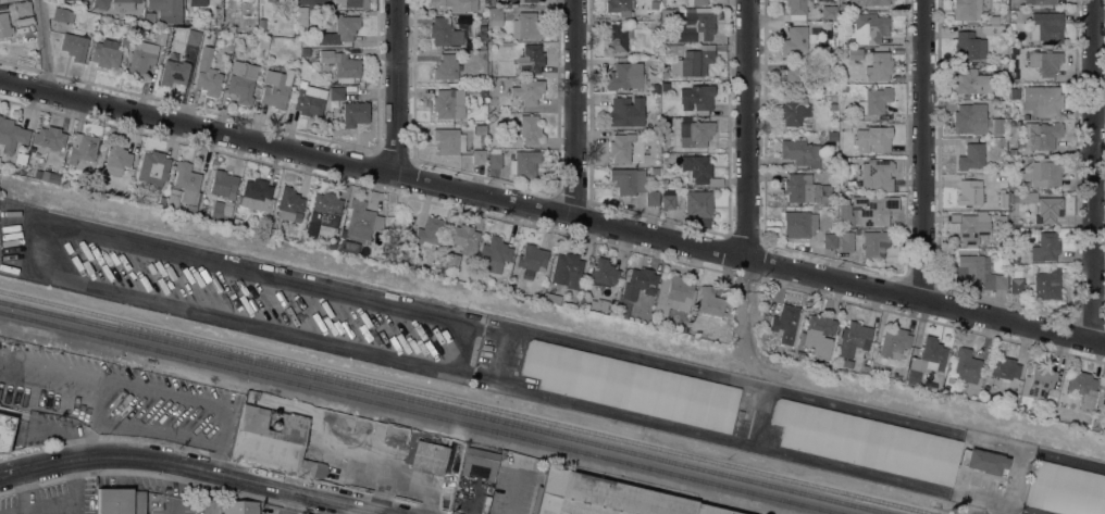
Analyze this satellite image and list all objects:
building: (5, 1)
building: (519, 1)
building: (200, 2)
building: (491, 2)
building: (698, 2)
building: (869, 2)
building: (1045, 2)
building: (99, 3)
building: (310, 3)
building: (352, 3)
building: (456, 3)
building: (124, 4)
building: (1014, 7)
building: (619, 8)
building: (20, 9)
building: (797, 9)
building: (967, 9)
building: (166, 10)
building: (828, 11)
building: (62, 14)
building: (301, 16)
building: (495, 16)
building: (656, 16)
building: (150, 17)
building: (666, 18)
building: (261, 24)
building: (4, 25)
building: (526, 26)
building: (1011, 26)
building: (1045, 27)
building: (694, 28)
building: (869, 28)
building: (342, 30)
building: (444, 33)
building: (482, 36)
building: (160, 37)
building: (193, 37)
building: (618, 37)
building: (124, 40)
building: (793, 40)
building: (274, 41)
building: (264, 42)
building: (74, 46)
building: (968, 46)
road: (45, 47)
building: (303, 51)
building: (105, 53)
building: (854, 53)
building: (141, 58)
building: (531, 58)
building: (686, 61)
building: (1044, 62)
building: (199, 64)
building: (340, 65)
building: (879, 65)
building: (446, 67)
building: (173, 73)
building: (624, 76)
building: (491, 79)
building: (793, 79)
building: (241, 80)
building: (209, 83)
building: (970, 84)
building: (276, 88)
road: (400, 88)
building: (527, 91)
building: (1004, 92)
building: (336, 93)
building: (482, 93)
building: (700, 97)
building: (310, 101)
building: (874, 101)
building: (1042, 101)
building: (448, 103)
building: (1002, 103)
building: (832, 106)
road: (578, 110)
building: (793, 111)
building: (625, 112)
building: (355, 113)
building: (0, 116)
building: (492, 118)
building: (970, 120)
building: (997, 125)
building: (480, 129)
building: (530, 129)
building: (697, 131)
building: (1041, 135)
building: (11, 136)
building: (831, 136)
building: (50, 138)
building: (877, 138)
building: (449, 141)
building: (621, 147)
building: (84, 148)
building: (665, 149)
building: (847, 151)
road: (924, 151)
building: (799, 152)
building: (479, 156)
building: (970, 156)
building: (116, 159)
building: (495, 161)
building: (523, 163)
building: (153, 167)
building: (695, 167)
road: (747, 168)
building: (655, 171)
road: (1096, 171)
building: (1043, 173)
building: (877, 175)
building: (186, 177)
building: (52, 178)
building: (989, 178)
building: (1017, 178)
building: (628, 180)
building: (716, 181)
building: (665, 183)
building: (224, 186)
building: (799, 188)
building: (969, 192)
building: (256, 195)
building: (824, 195)
building: (1011, 196)
building: (650, 198)
building: (1002, 198)
building: (1027, 198)
building: (162, 199)
building: (172, 199)
building: (668, 199)
building: (289, 204)
building: (698, 208)
building: (325, 209)
building: (880, 209)
building: (1047, 210)
building: (220, 214)
road: (551, 214)
building: (845, 214)
building: (1002, 220)
building: (362, 221)
building: (1028, 223)
building: (798, 224)
building: (971, 227)
building: (272, 231)
building: (429, 231)
building: (462, 238)
building: (829, 240)
building: (845, 241)
building: (874, 243)
road: (35, 245)
building: (331, 246)
building: (347, 246)
building: (1046, 247)
building: (981, 251)
building: (1003, 253)
building: (494, 254)
building: (1014, 254)
building: (531, 261)
building: (567, 271)
building: (978, 272)
building: (604, 273)
building: (1016, 280)
building: (1045, 285)
building: (635, 289)
building: (675, 289)
building: (551, 298)
building: (709, 302)
building: (594, 303)
building: (684, 308)
building: (784, 323)
building: (817, 335)
building: (853, 340)
building: (893, 340)
building: (790, 354)
building: (798, 354)
building: (926, 360)
building: (847, 362)
road: (52, 364)
building: (966, 365)
building: (1004, 368)
building: (1039, 381)
building: (632, 386)
building: (946, 389)
building: (984, 389)
building: (1083, 389)
road: (777, 390)
road: (100, 398)
road: (49, 400)
railway: (468, 401)
building: (1104, 403)
railway: (446, 408)
railway: (422, 412)
road: (760, 416)
road: (94, 422)
road: (54, 428)
road: (226, 428)
building: (5, 431)
road: (88, 431)
building: (274, 438)
building: (866, 441)
road: (79, 447)
road: (768, 449)
building: (412, 454)
road: (221, 457)
building: (480, 461)
building: (984, 461)
road: (209, 469)
road: (10, 474)
road: (1013, 477)
road: (177, 488)
road: (24, 489)
building: (1065, 489)
building: (607, 498)
building: (120, 501)
road: (60, 505)
building: (240, 509)
road: (349, 509)
road: (1002, 509)

